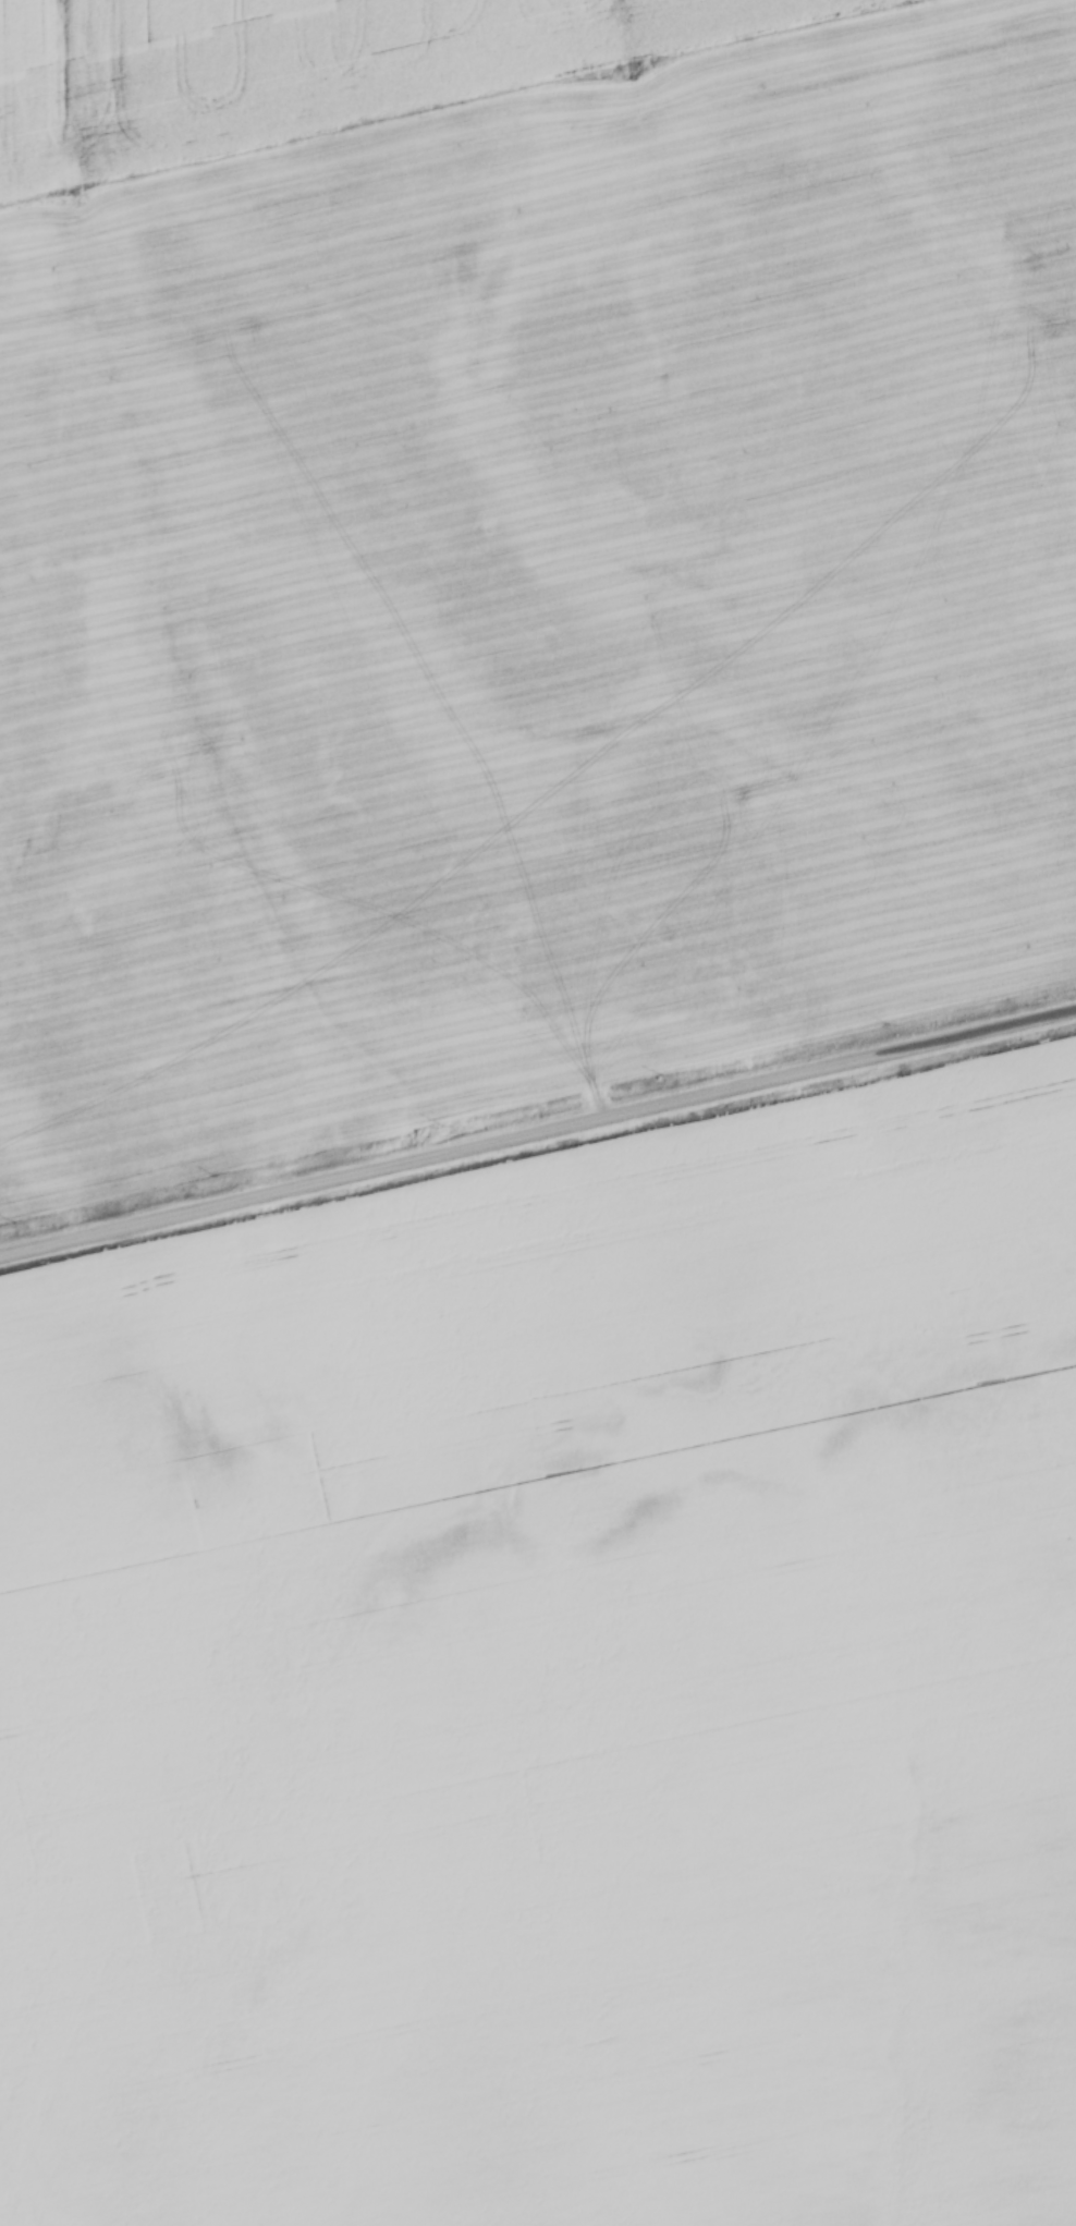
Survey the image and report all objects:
road: (538, 1131)

